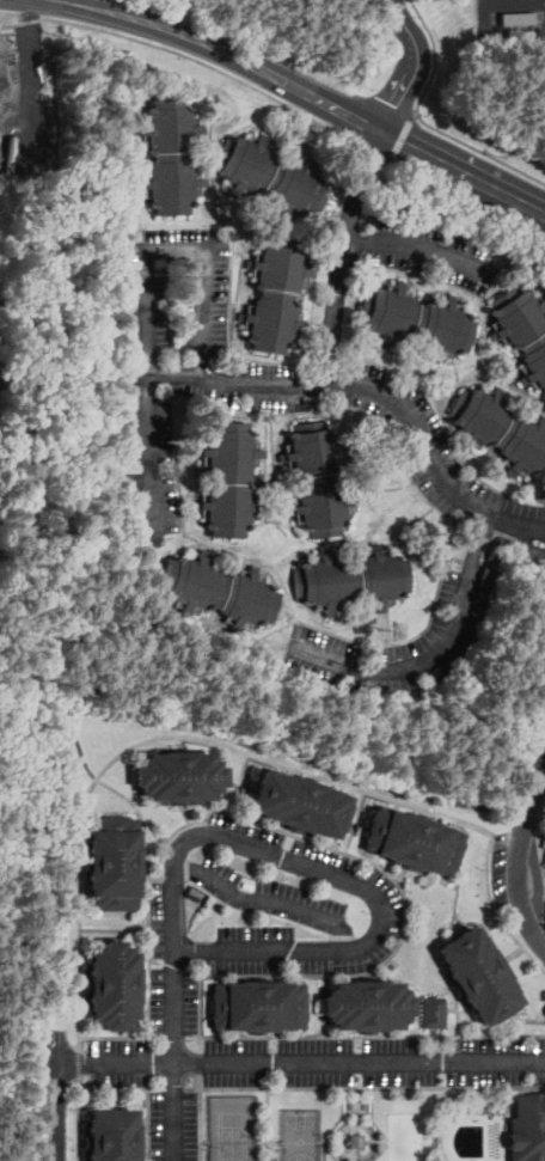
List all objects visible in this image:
road: (397, 11)
street lamp: (417, 16)
road: (6, 18)
road: (179, 31)
road: (416, 47)
road: (435, 55)
street lamp: (373, 87)
road: (287, 102)
road: (394, 102)
road: (332, 105)
road: (403, 135)
road: (406, 143)
road: (478, 148)
building: (171, 154)
road: (139, 157)
building: (272, 176)
road: (140, 183)
road: (483, 183)
road: (210, 187)
road: (226, 191)
road: (140, 208)
road: (538, 210)
road: (259, 220)
road: (145, 238)
road: (417, 245)
road: (243, 251)
road: (342, 255)
road: (512, 281)
road: (457, 286)
building: (276, 294)
road: (238, 304)
road: (148, 305)
road: (312, 317)
road: (307, 319)
building: (417, 322)
building: (522, 330)
road: (375, 350)
road: (74, 355)
road: (256, 359)
road: (424, 371)
road: (458, 374)
road: (490, 379)
road: (513, 379)
road: (376, 389)
road: (35, 403)
road: (541, 413)
road: (344, 424)
building: (502, 428)
road: (278, 447)
road: (265, 450)
road: (467, 452)
road: (498, 471)
building: (229, 477)
building: (318, 478)
road: (380, 488)
road: (267, 497)
road: (471, 526)
road: (518, 539)
building: (498, 542)
road: (361, 543)
building: (495, 556)
building: (489, 578)
building: (353, 580)
building: (220, 592)
road: (323, 621)
road: (430, 621)
road: (391, 633)
road: (245, 641)
road: (436, 653)
road: (170, 670)
road: (180, 741)
road: (233, 747)
road: (310, 775)
building: (180, 776)
road: (240, 782)
building: (300, 803)
road: (423, 811)
road: (186, 814)
road: (355, 820)
building: (411, 839)
road: (518, 851)
road: (84, 862)
building: (115, 862)
road: (145, 862)
road: (541, 864)
parking lot: (500, 869)
road: (399, 875)
road: (537, 875)
road: (345, 878)
building: (246, 885)
parking lot: (392, 892)
road: (403, 892)
road: (148, 896)
parking lot: (270, 897)
road: (265, 899)
road: (115, 929)
parking lot: (255, 931)
road: (492, 943)
road: (514, 953)
parking lot: (158, 958)
road: (504, 959)
building: (478, 974)
road: (513, 977)
building: (115, 984)
road: (146, 984)
road: (82, 985)
road: (174, 992)
parking lot: (191, 1004)
building: (367, 1004)
building: (258, 1006)
road: (451, 1009)
building: (434, 1012)
road: (457, 1015)
parking lot: (62, 1035)
road: (373, 1035)
road: (115, 1037)
street lamp: (189, 1039)
parking lot: (374, 1044)
parking lot: (121, 1045)
road: (304, 1059)
road: (80, 1063)
parking lot: (121, 1077)
parking lot: (374, 1077)
road: (336, 1087)
road: (149, 1088)
road: (174, 1098)
road: (508, 1098)
parking lot: (51, 1111)
road: (508, 1112)
road: (59, 1113)
road: (80, 1117)
road: (355, 1123)
road: (268, 1124)
road: (356, 1124)
parking lot: (158, 1125)
parking lot: (190, 1125)
building: (528, 1128)
park: (300, 1133)
building: (115, 1135)
park: (232, 1136)
street lamp: (325, 1136)
park: (405, 1137)
street lamp: (427, 1137)
road: (508, 1137)
street lamp: (255, 1138)
road: (82, 1141)
road: (204, 1141)
road: (270, 1141)
road: (323, 1141)
road: (333, 1141)
road: (347, 1141)
building: (356, 1141)
road: (373, 1141)
road: (147, 1142)
street lamp: (215, 1147)
street lamp: (73, 1149)
street lamp: (277, 1150)

